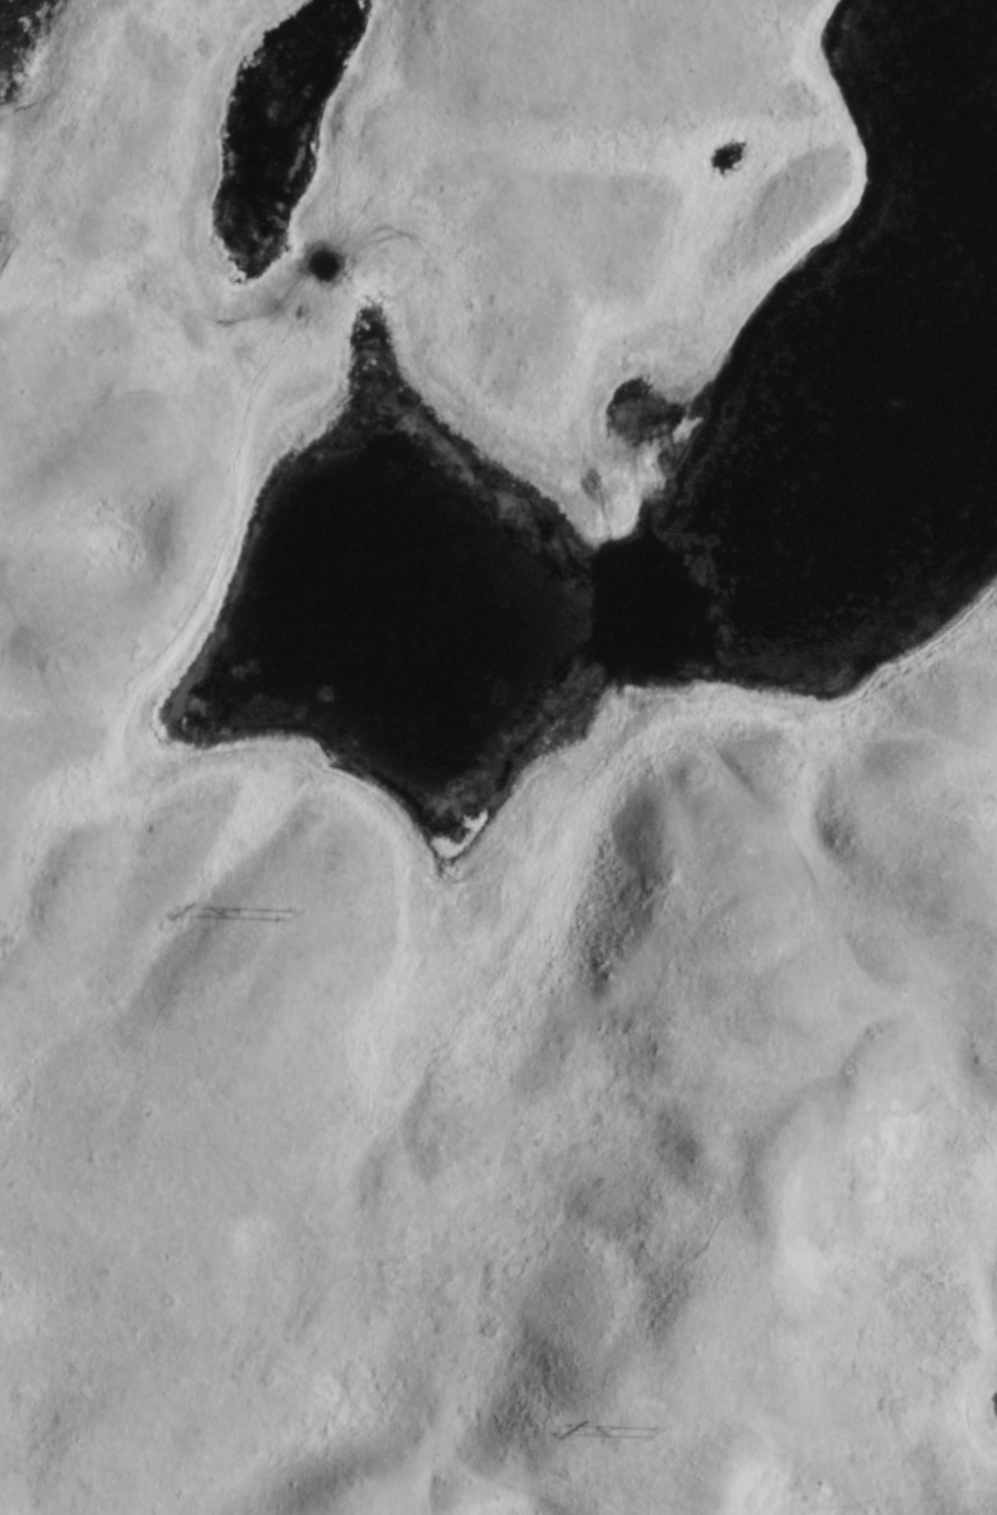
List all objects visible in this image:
power tower: (282, 913)
power tower: (646, 1431)

